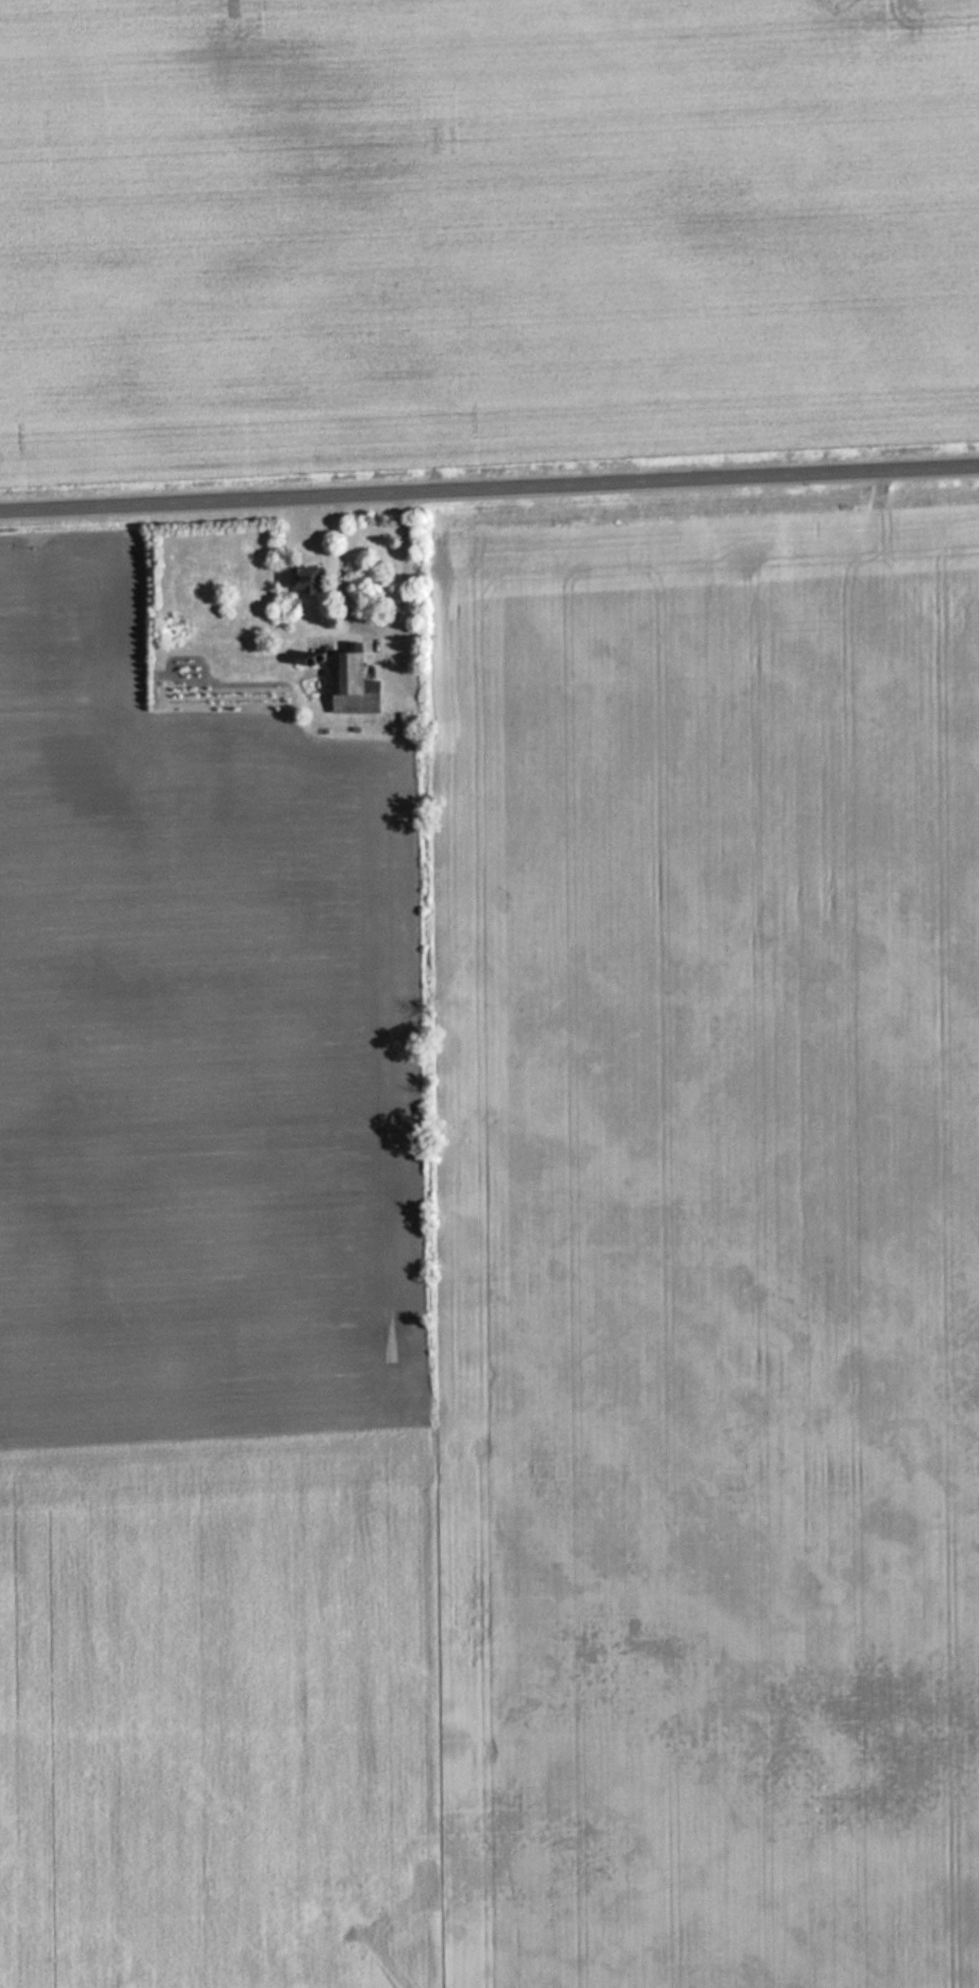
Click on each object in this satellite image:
road: (489, 489)
building: (300, 580)
building: (347, 686)
building: (401, 1920)

